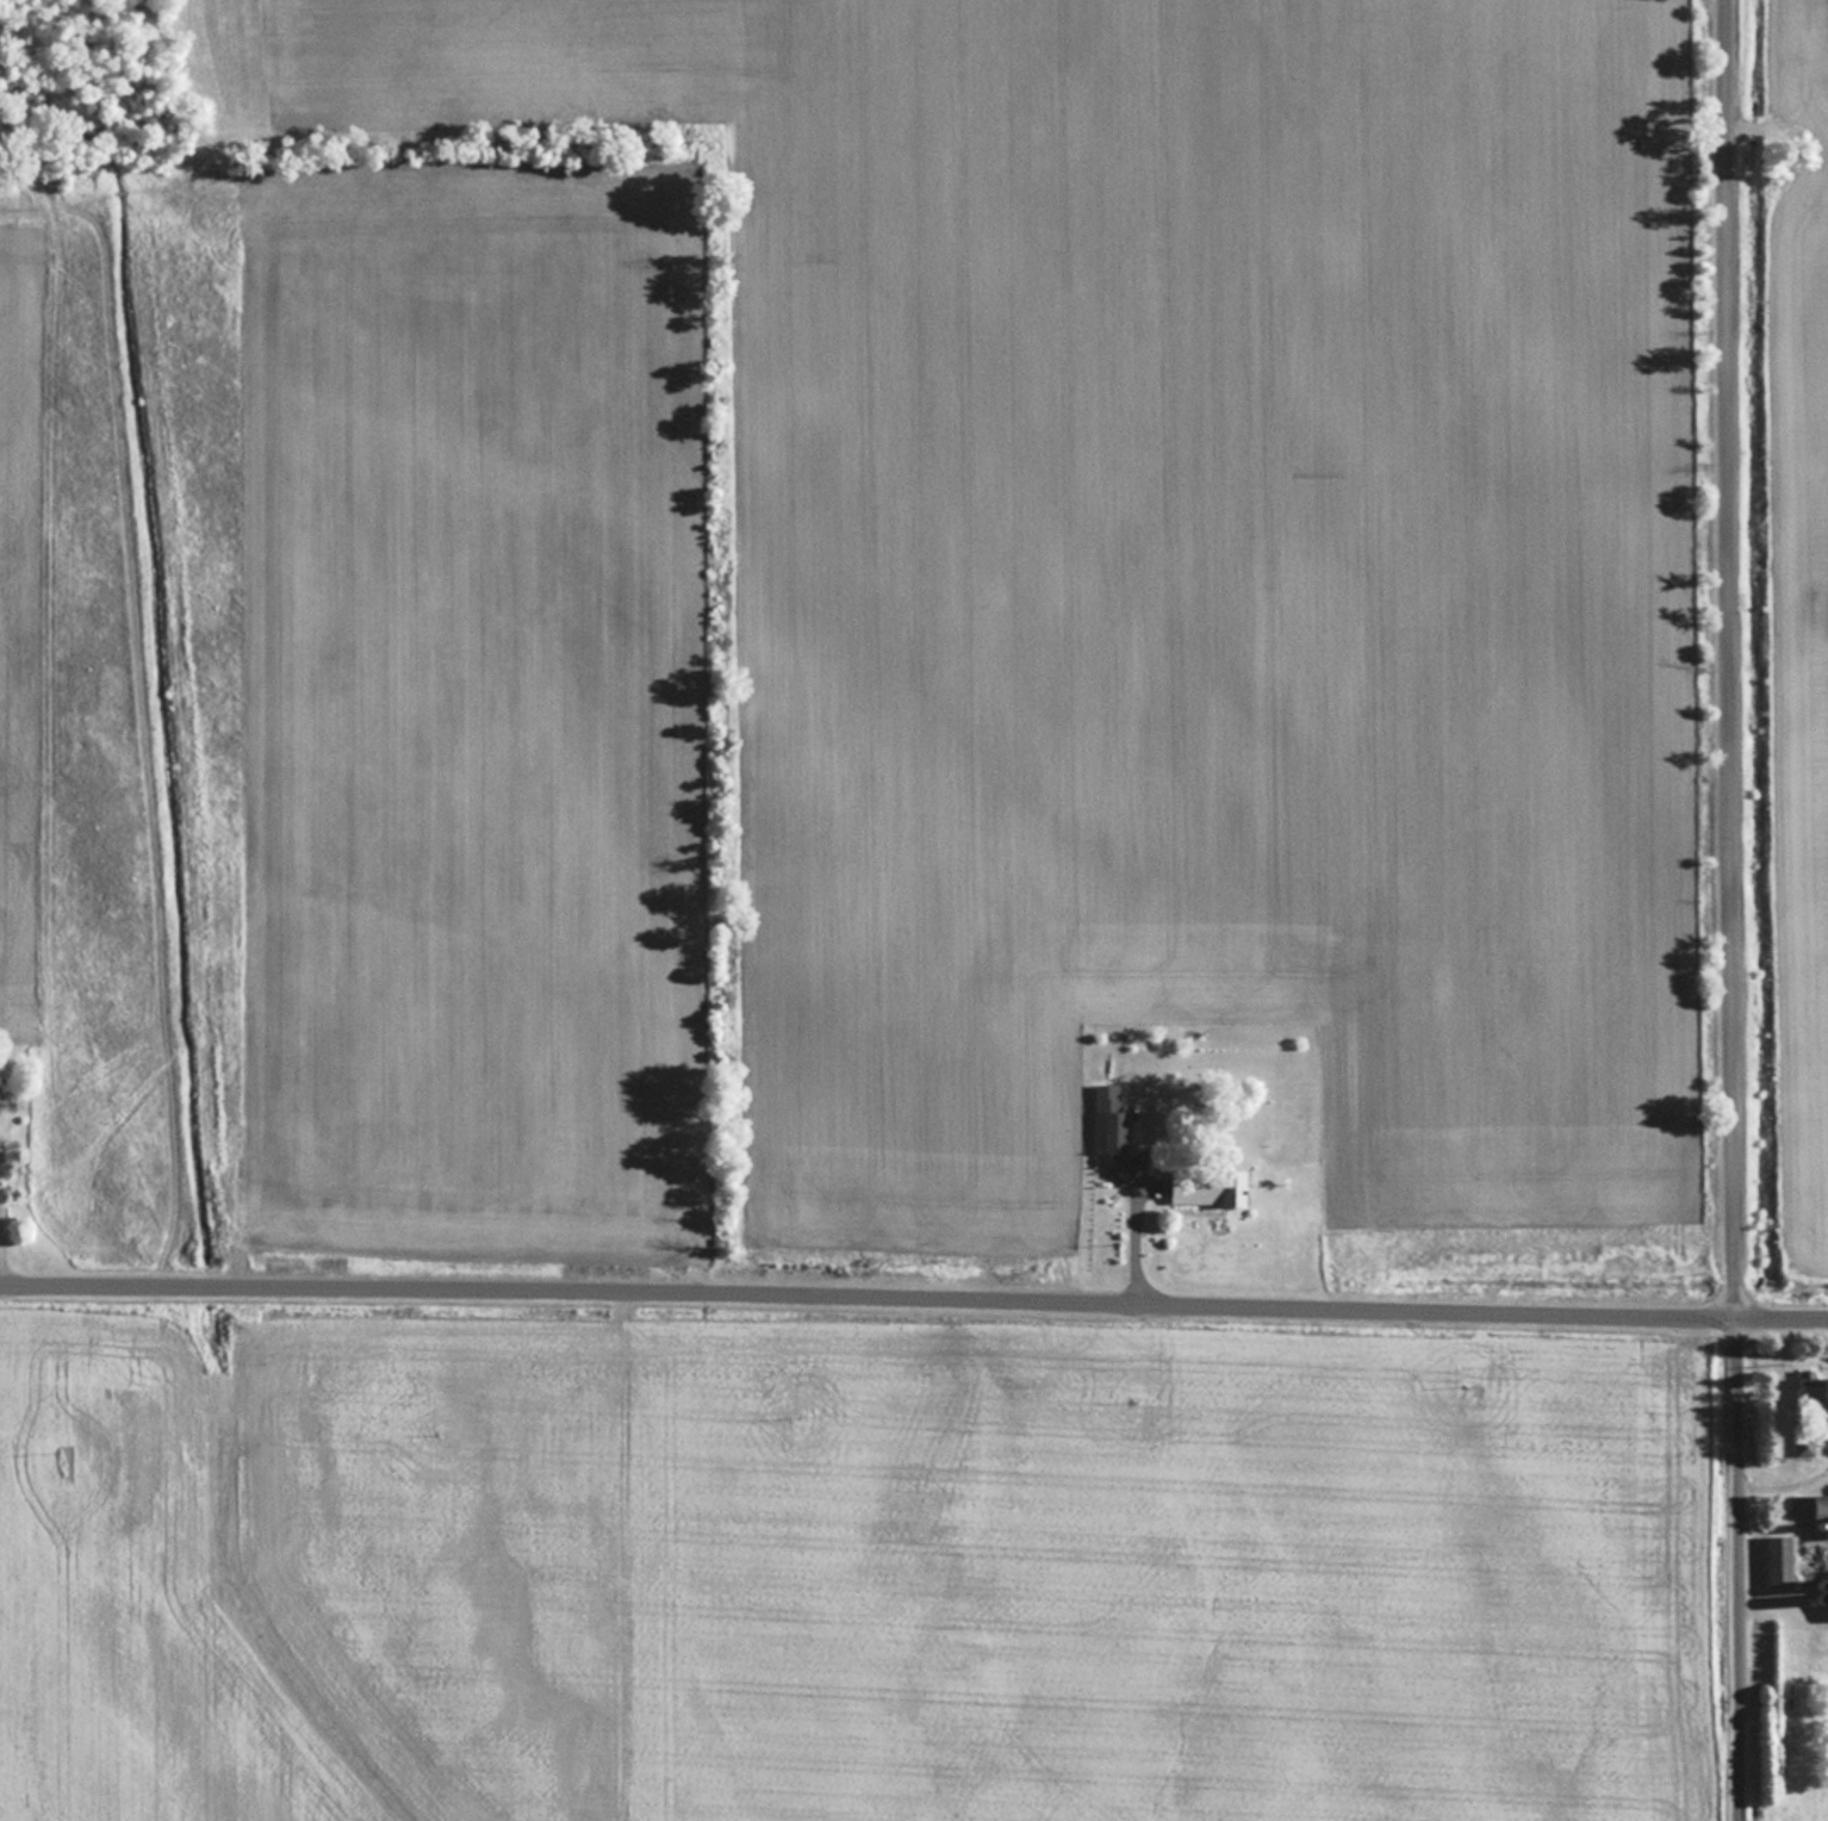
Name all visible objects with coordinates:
road: (1734, 660)
building: (1111, 1118)
building: (1208, 1186)
road: (914, 1300)
building: (1811, 1387)
building: (1805, 1446)
building: (1809, 1508)
building: (1777, 1561)
road: (1739, 1571)

